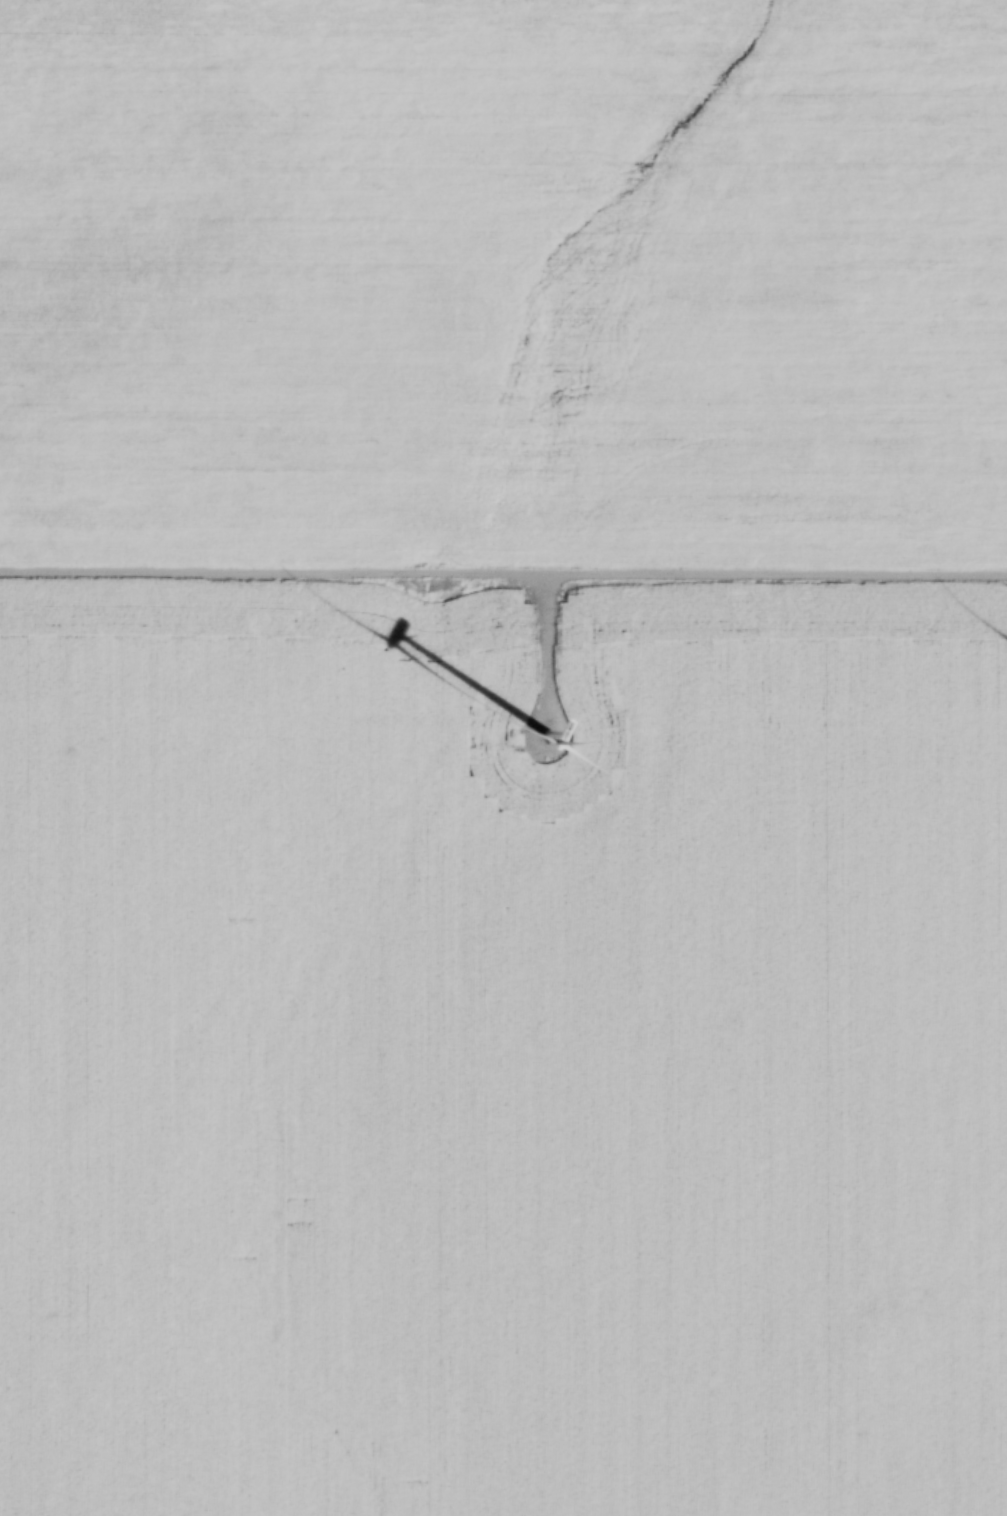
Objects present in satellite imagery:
road: (503, 573)
wind turbine: (552, 736)

